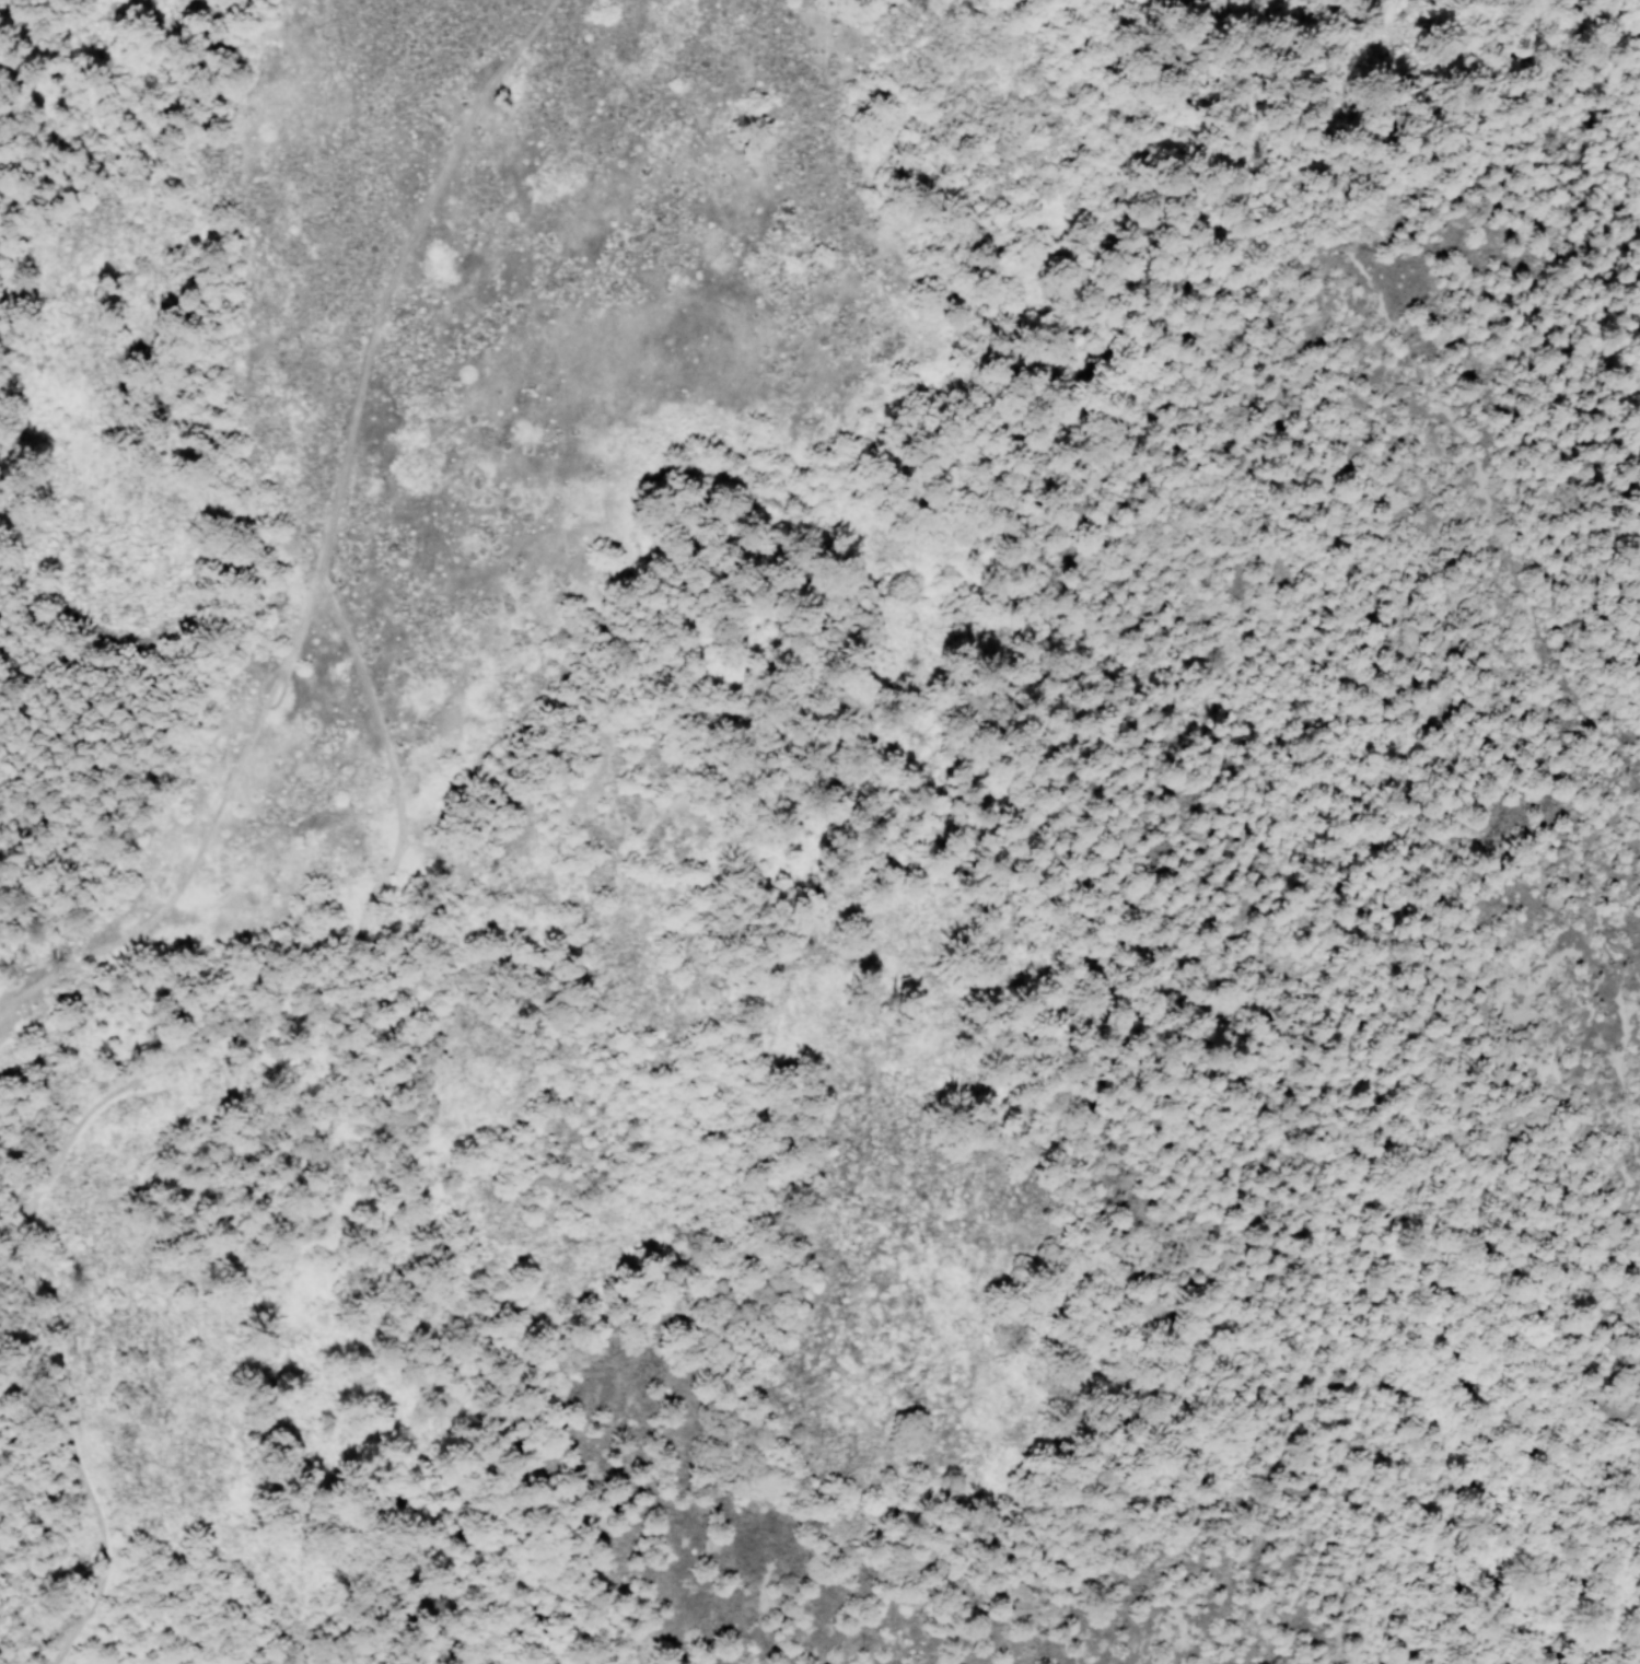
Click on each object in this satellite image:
road: (342, 475)
road: (210, 835)
road: (242, 1057)
road: (91, 1492)
road: (0, 1555)

